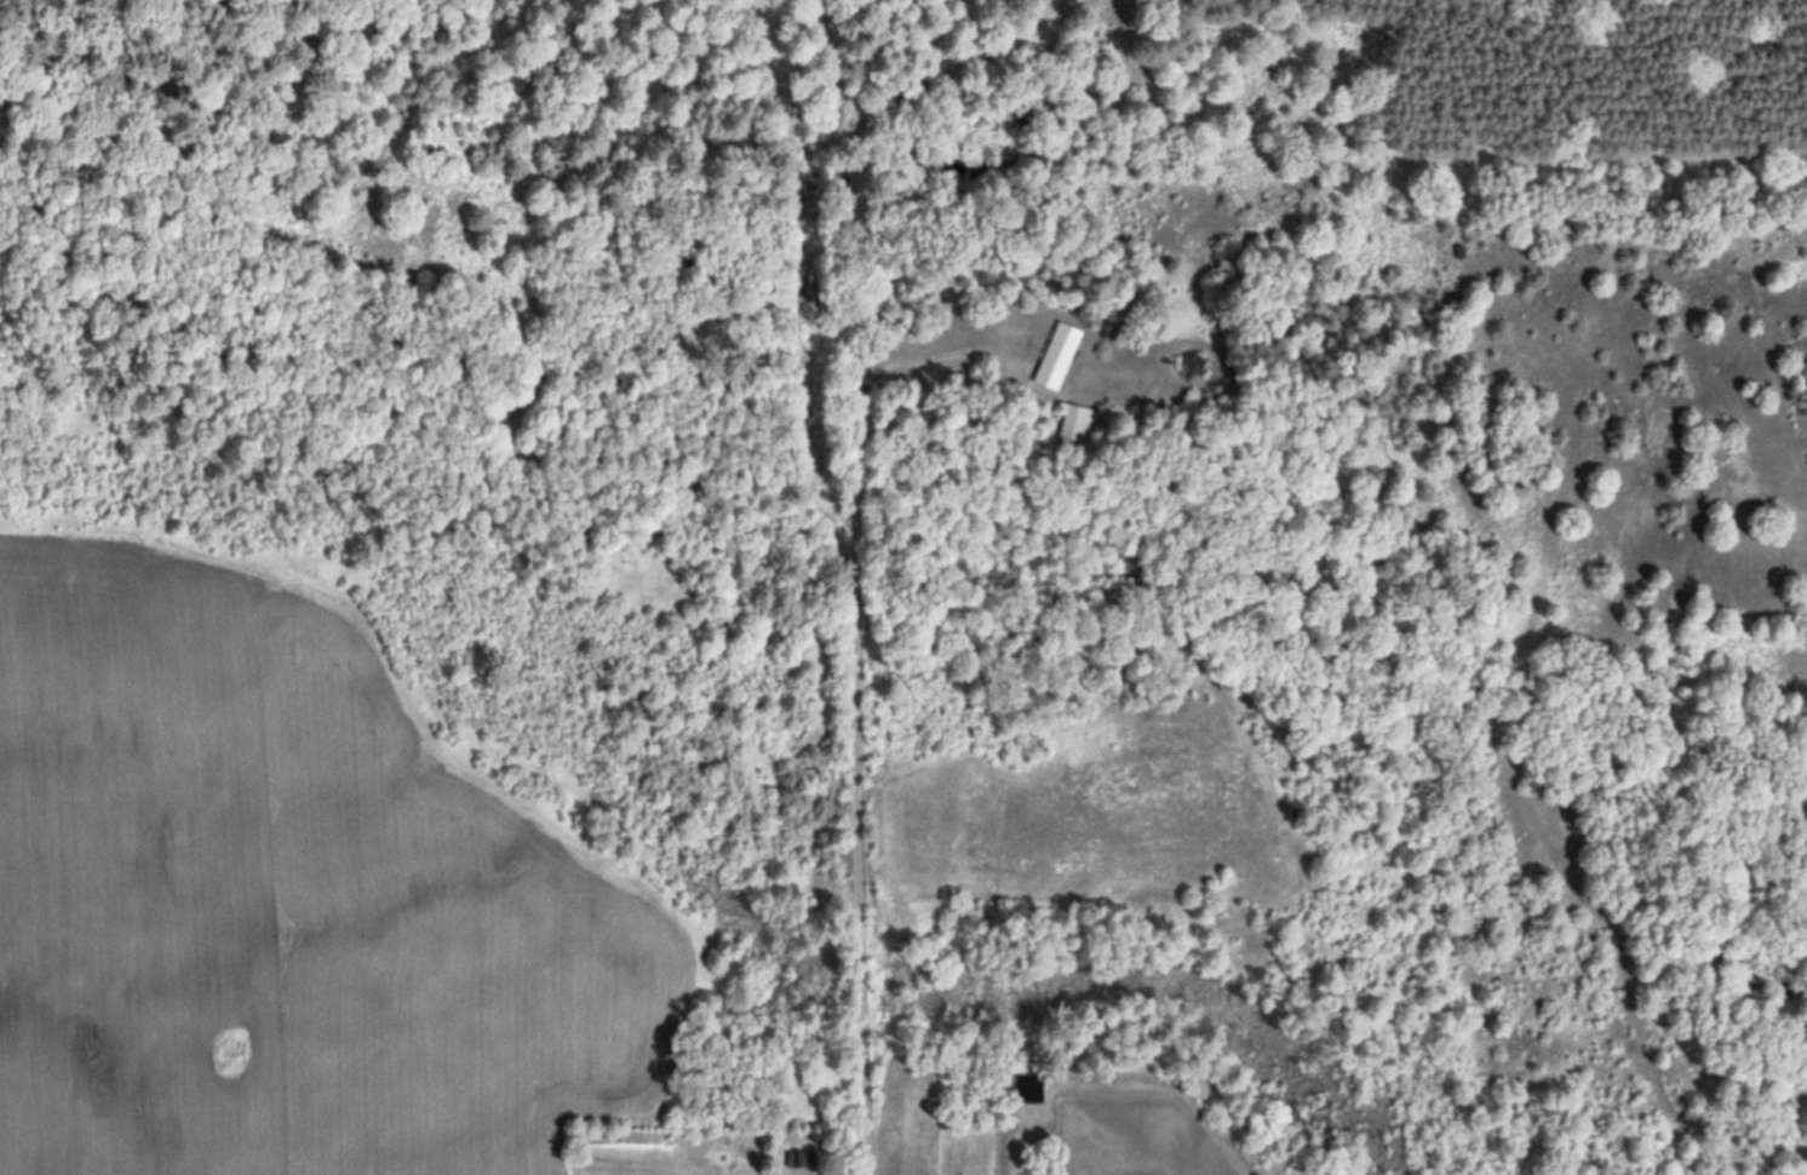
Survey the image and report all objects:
building: (1052, 354)
building: (1075, 422)
road: (843, 586)

